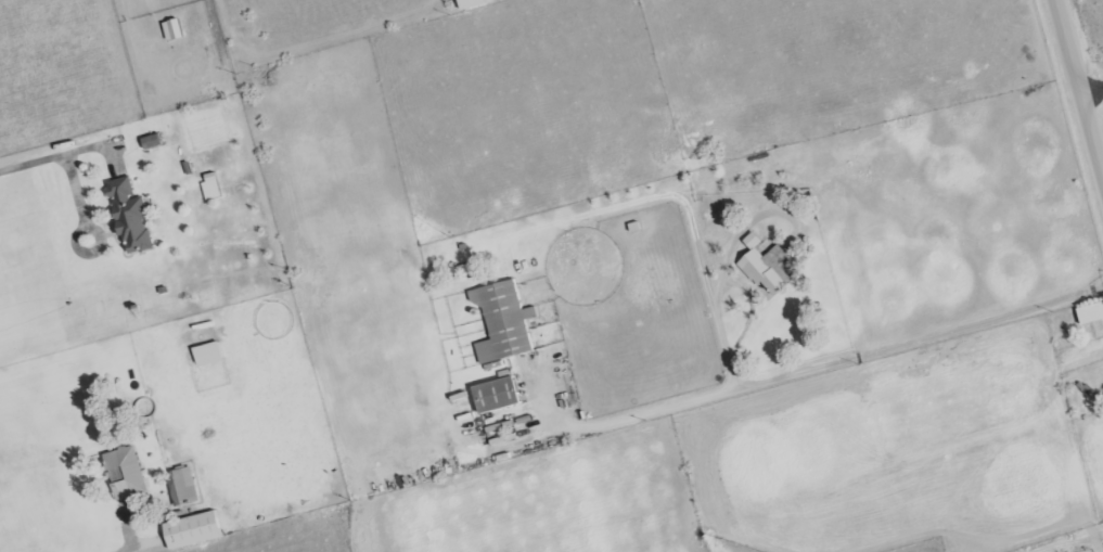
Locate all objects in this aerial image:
building: (471, 4)
building: (172, 30)
road: (1081, 82)
road: (1094, 94)
building: (152, 143)
road: (65, 164)
building: (213, 191)
building: (131, 218)
road: (77, 242)
building: (766, 268)
building: (1091, 314)
building: (503, 323)
building: (498, 395)
building: (127, 473)
building: (182, 487)
building: (193, 531)

